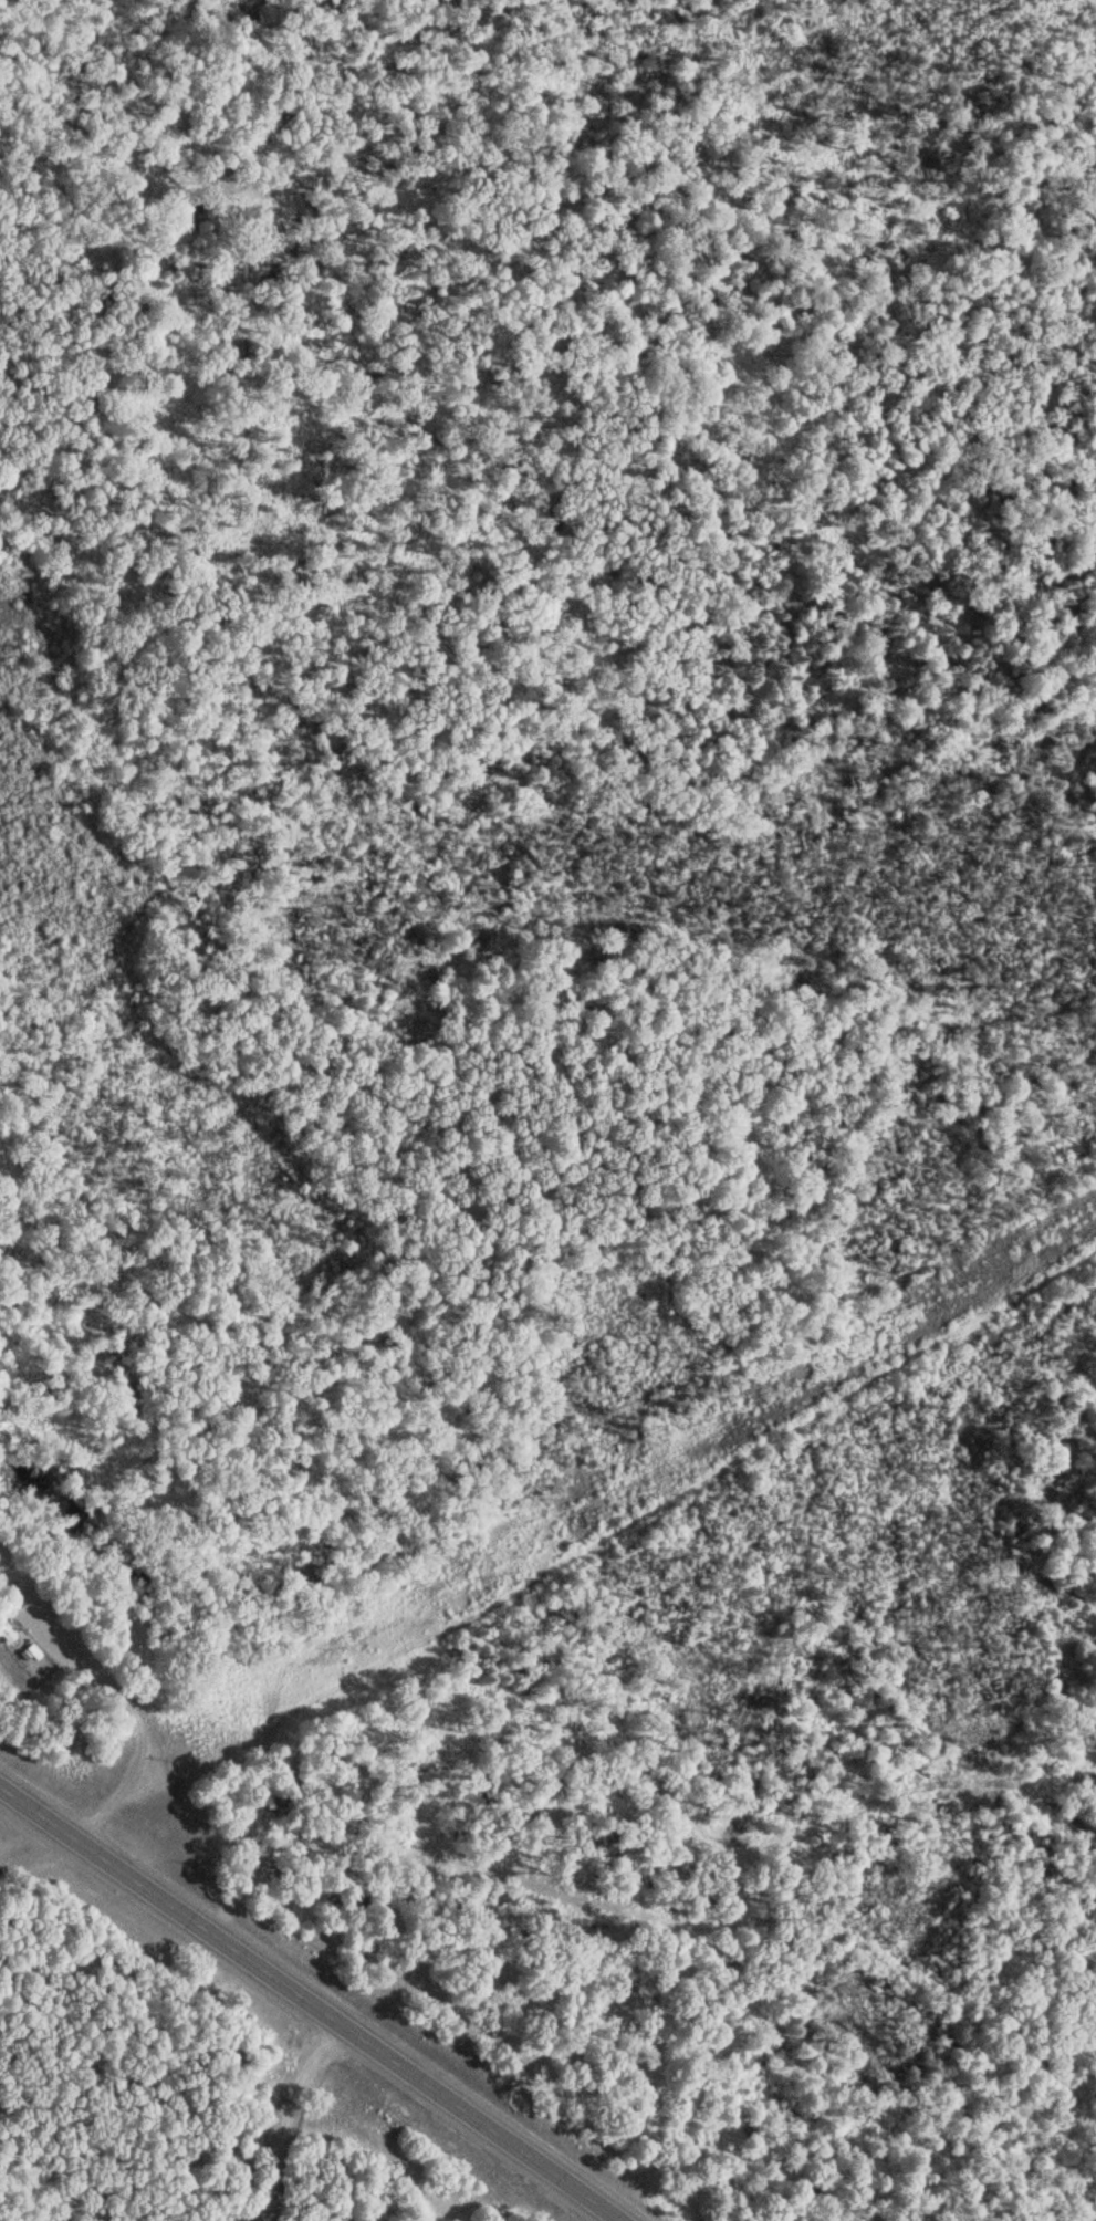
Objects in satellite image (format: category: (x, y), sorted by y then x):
road: (171, 178)
road: (114, 1695)
road: (313, 2002)
road: (286, 2113)

